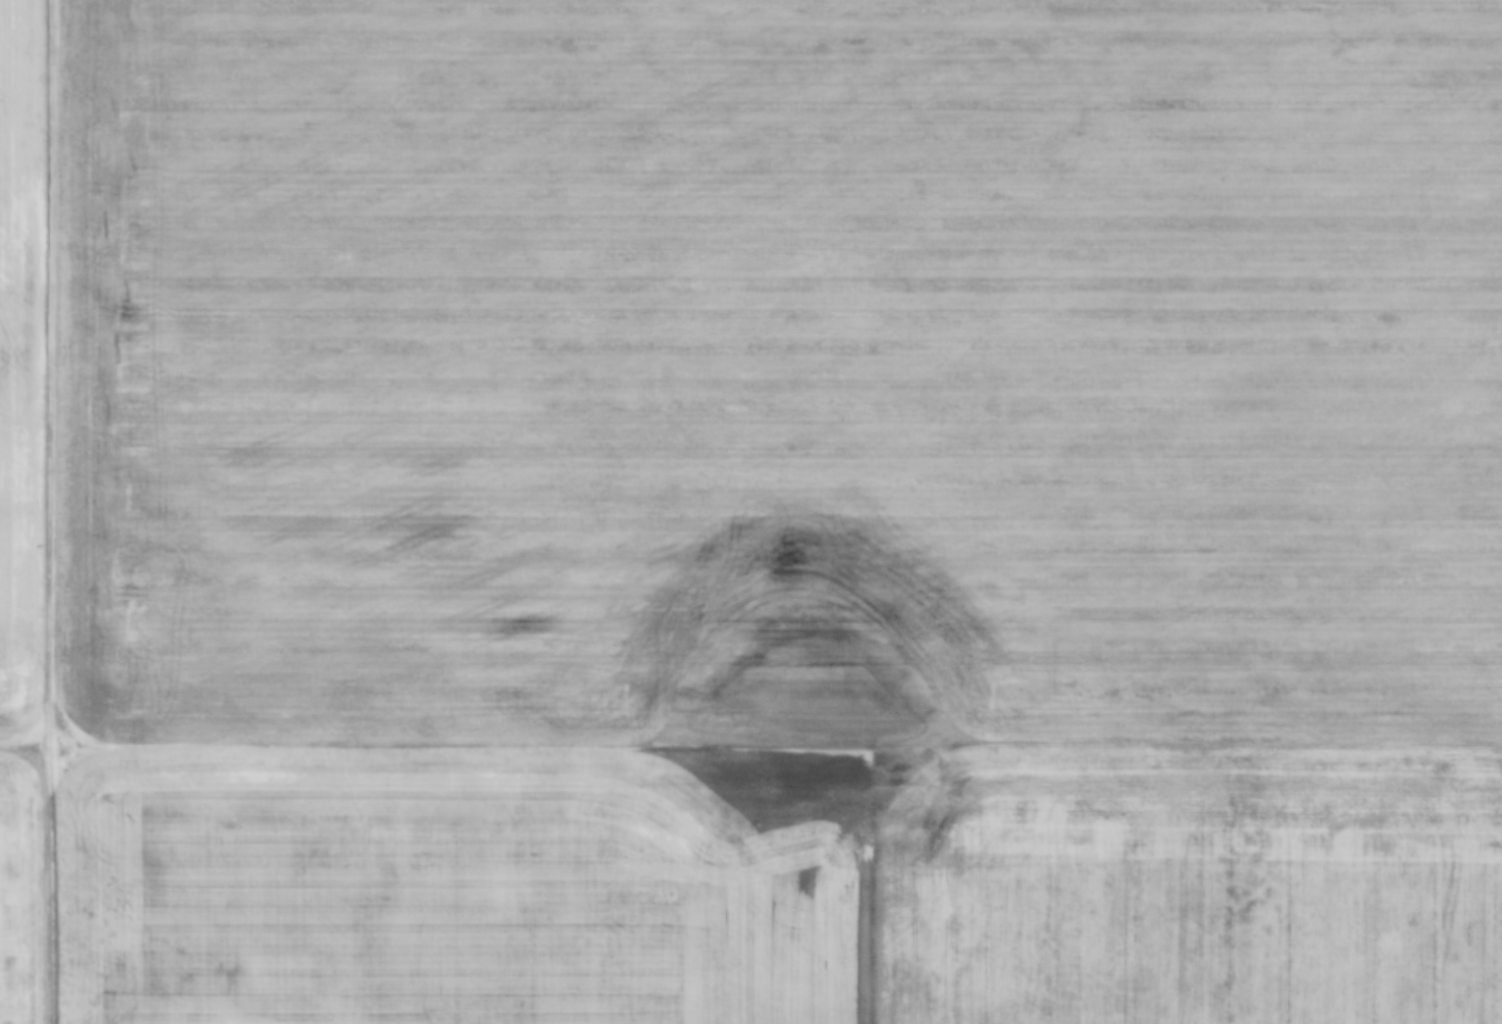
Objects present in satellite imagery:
road: (54, 512)

